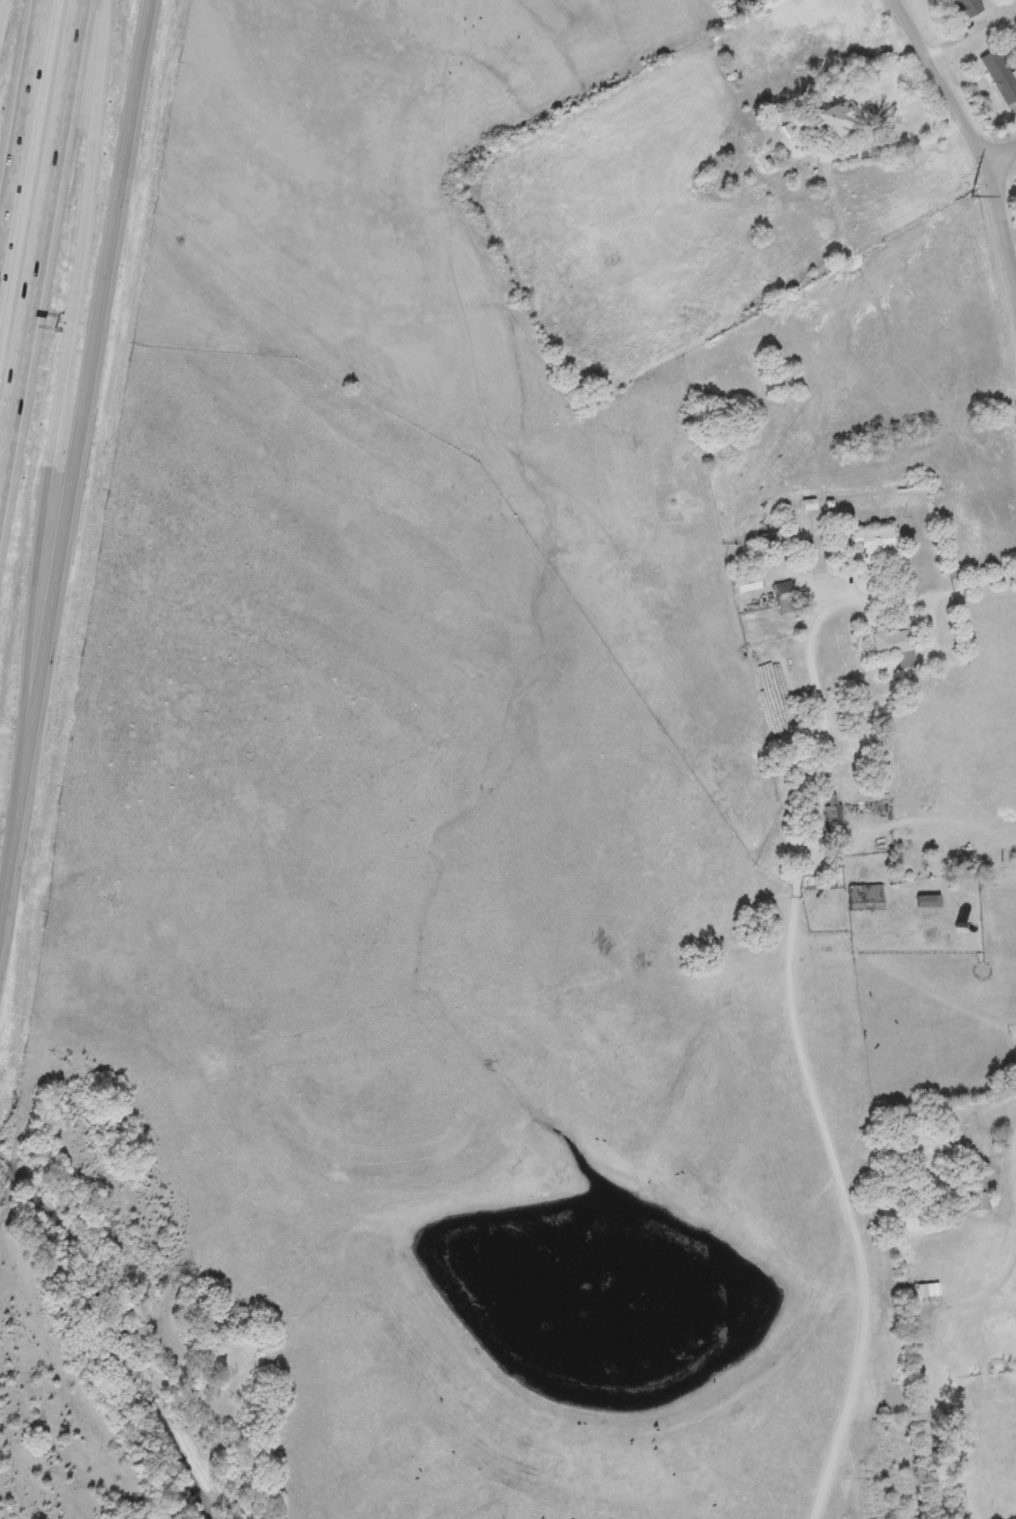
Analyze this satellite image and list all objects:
road: (1, 6)
building: (966, 7)
building: (1001, 72)
building: (823, 120)
road: (21, 125)
road: (969, 128)
road: (1004, 160)
road: (39, 237)
road: (59, 398)
road: (74, 462)
building: (809, 502)
building: (874, 539)
building: (746, 581)
building: (785, 595)
road: (863, 607)
building: (895, 644)
building: (835, 817)
building: (866, 896)
building: (929, 899)
road: (834, 1132)
building: (977, 1192)

